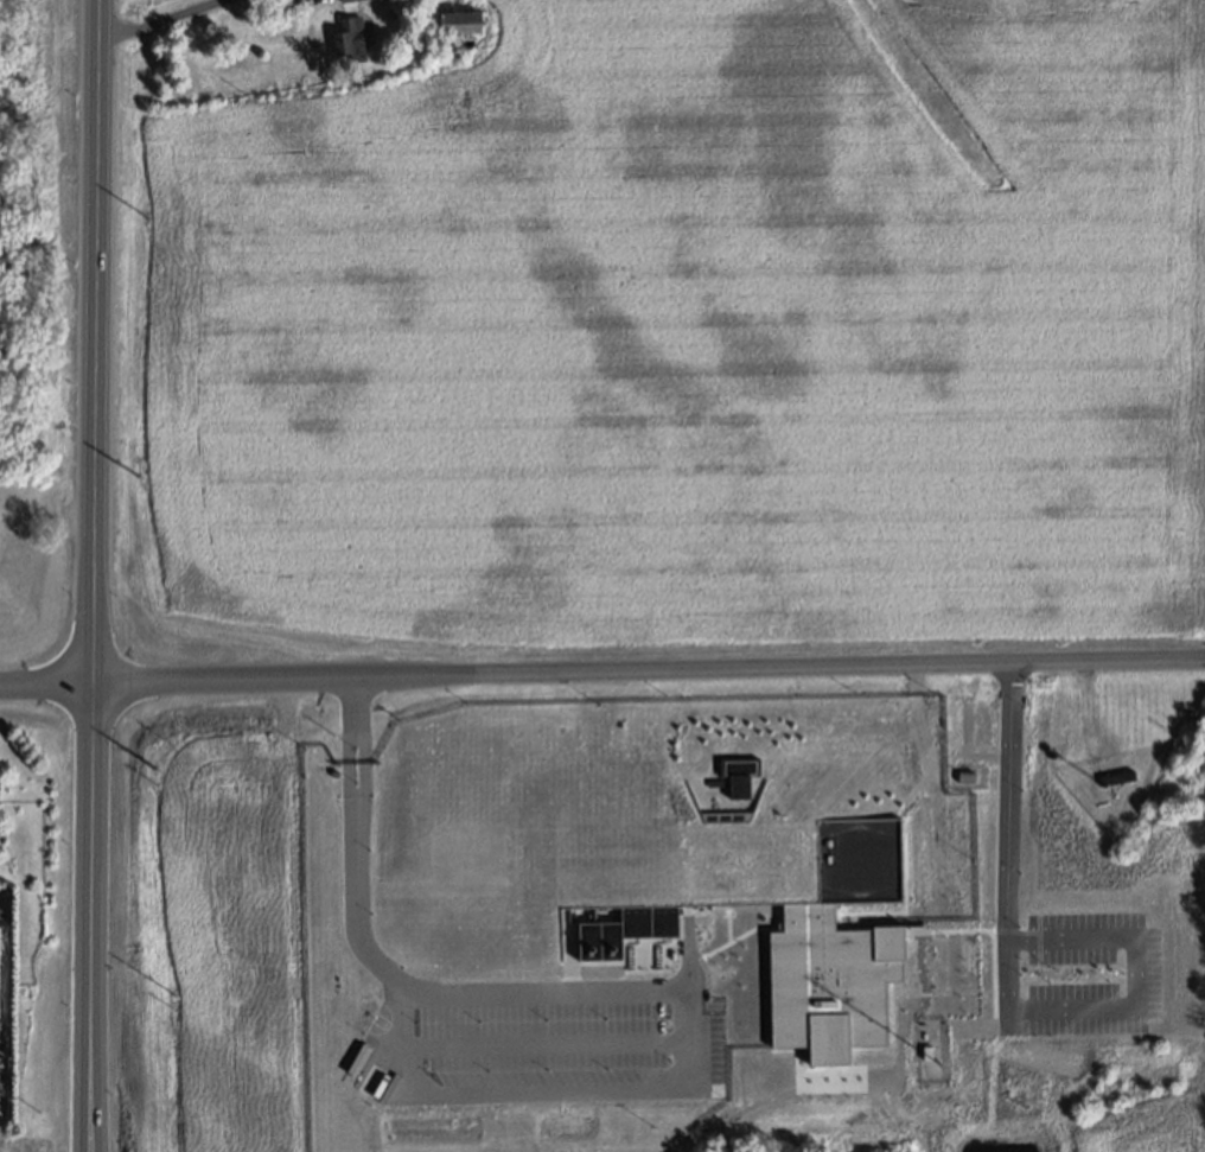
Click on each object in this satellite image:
building: (348, 0)
road: (164, 21)
building: (461, 23)
building: (350, 39)
road: (94, 303)
road: (601, 670)
building: (967, 776)
building: (1118, 777)
building: (739, 788)
road: (1007, 836)
road: (89, 879)
road: (597, 880)
building: (626, 931)
road: (1135, 973)
building: (789, 1005)
building: (927, 1051)
building: (878, 1074)
road: (573, 1089)

